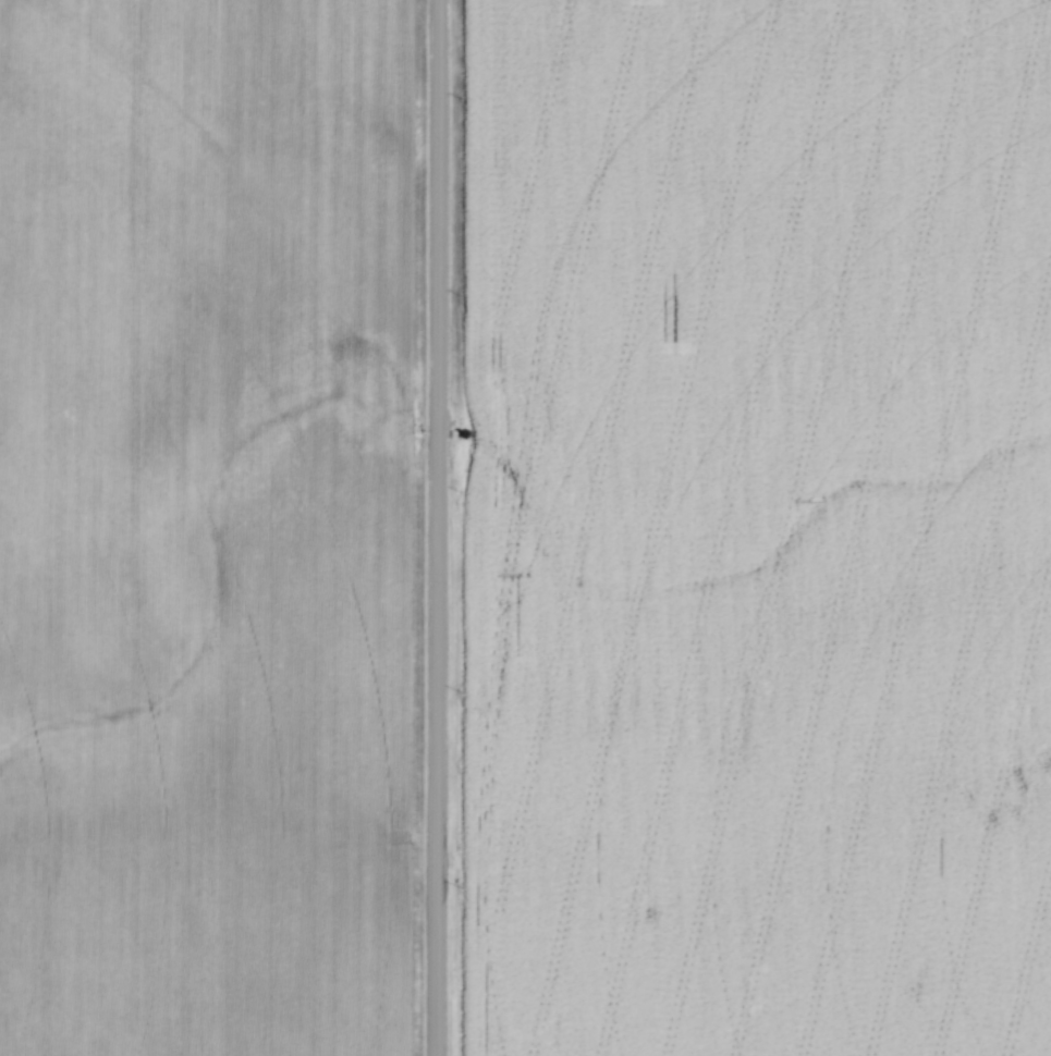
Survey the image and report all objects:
road: (431, 528)

